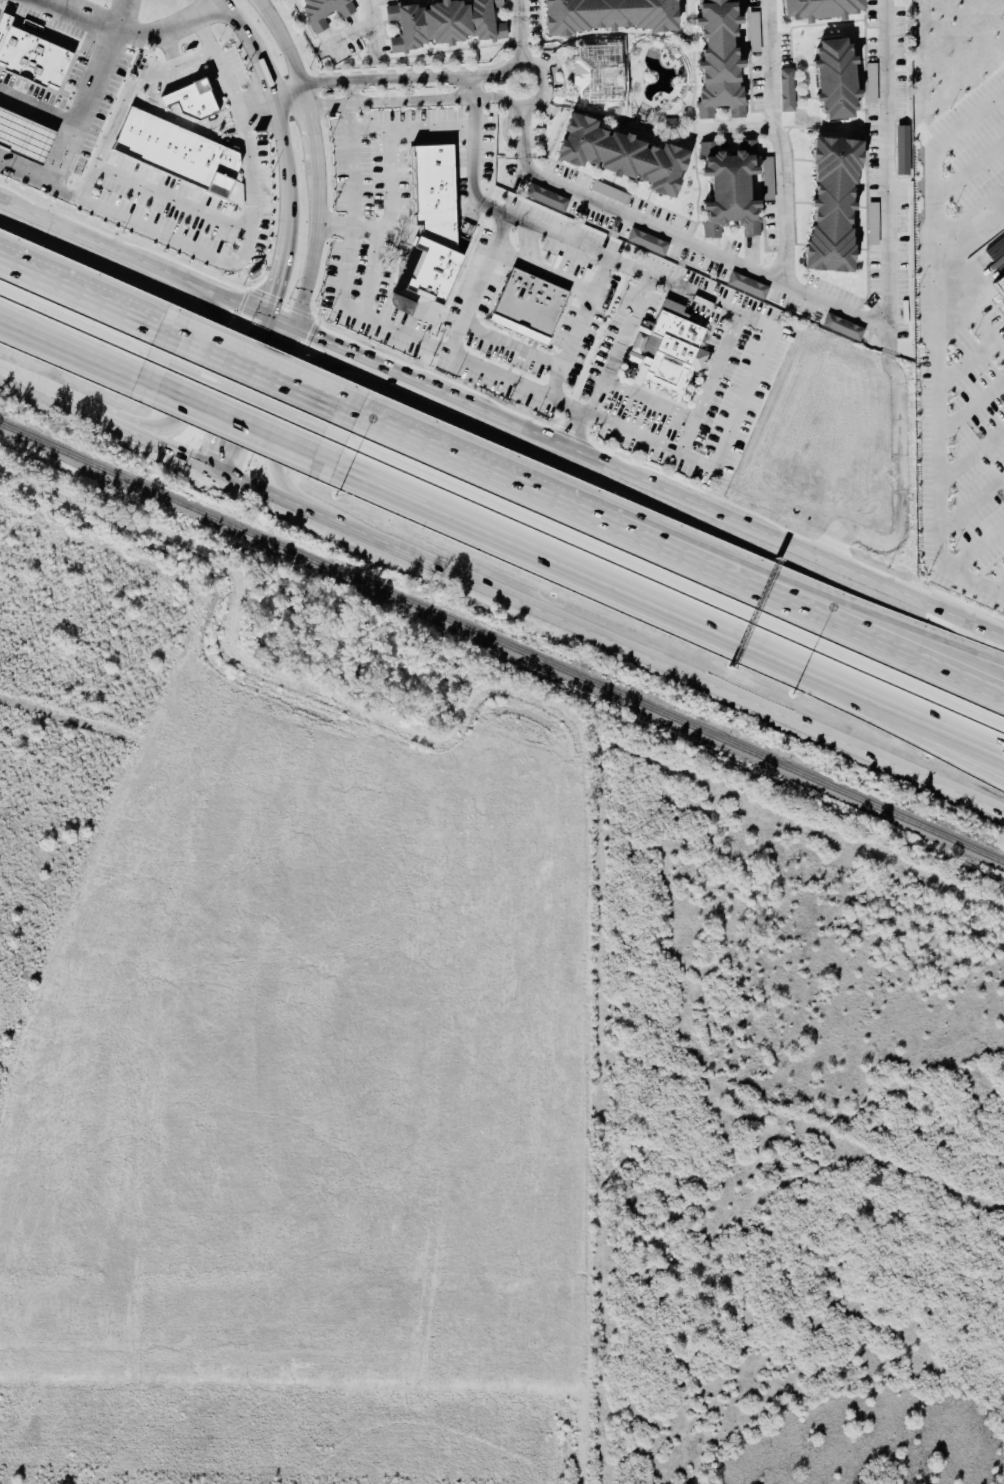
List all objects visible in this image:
building: (824, 10)
building: (323, 11)
road: (118, 14)
building: (611, 17)
road: (230, 19)
building: (446, 24)
road: (370, 30)
road: (515, 31)
road: (134, 32)
road: (281, 46)
road: (169, 48)
building: (32, 54)
building: (720, 57)
road: (259, 71)
building: (599, 74)
road: (541, 81)
building: (838, 81)
road: (132, 85)
road: (471, 86)
building: (786, 90)
road: (347, 92)
building: (192, 100)
road: (286, 101)
road: (37, 103)
road: (79, 107)
road: (255, 108)
road: (182, 121)
road: (306, 128)
road: (368, 128)
road: (731, 128)
building: (25, 137)
gas station: (25, 137)
road: (389, 139)
road: (774, 142)
building: (176, 152)
building: (626, 158)
road: (348, 166)
road: (968, 170)
road: (286, 174)
building: (730, 189)
road: (154, 190)
building: (545, 199)
building: (836, 207)
road: (518, 217)
road: (968, 221)
building: (1002, 231)
building: (429, 237)
building: (647, 242)
road: (309, 249)
road: (235, 261)
road: (545, 269)
road: (137, 273)
road: (479, 282)
building: (1000, 285)
building: (747, 286)
road: (274, 289)
road: (92, 295)
building: (528, 306)
road: (827, 306)
road: (969, 311)
road: (579, 327)
building: (840, 327)
road: (407, 332)
traffic signals: (274, 333)
road: (83, 338)
road: (511, 345)
road: (315, 350)
building: (667, 350)
road: (933, 350)
road: (609, 366)
road: (964, 366)
road: (4, 367)
road: (261, 369)
road: (192, 390)
road: (709, 390)
road: (415, 392)
road: (246, 396)
road: (741, 400)
road: (243, 408)
road: (967, 411)
road: (113, 414)
road: (283, 424)
traffic signals: (219, 460)
road: (967, 460)
road: (900, 481)
road: (967, 507)
road: (616, 520)
road: (739, 530)
road: (533, 536)
road: (976, 550)
road: (998, 588)
road: (611, 631)
railway: (502, 643)
road: (949, 648)
road: (948, 662)
road: (875, 685)
road: (872, 710)
railway: (505, 943)

